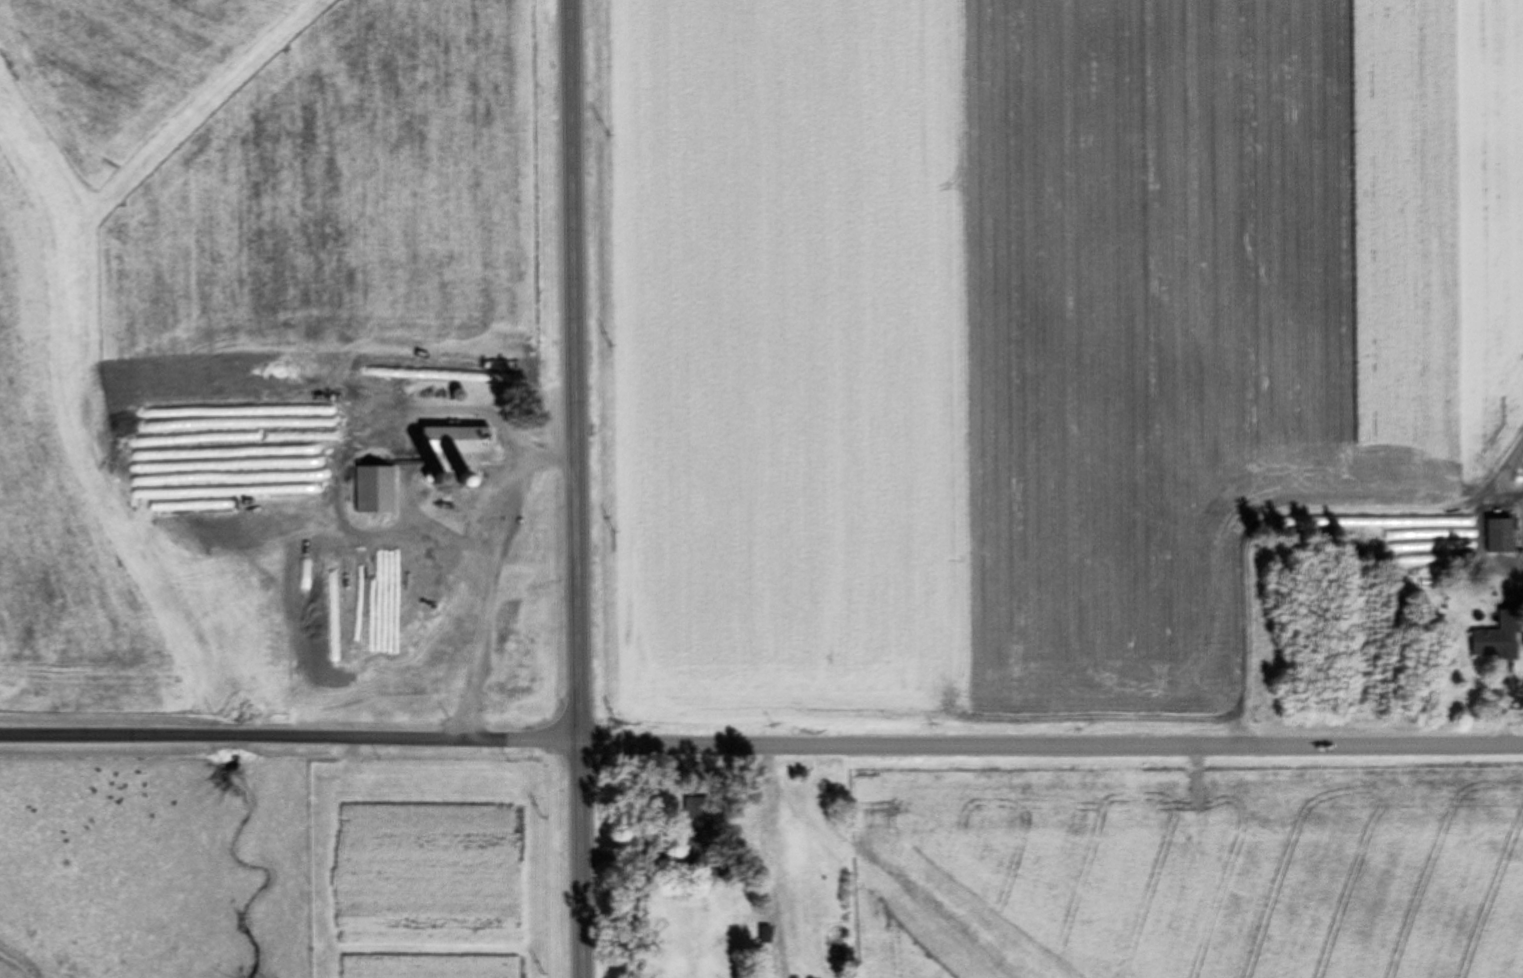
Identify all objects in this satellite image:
building: (454, 454)
building: (316, 462)
road: (577, 488)
building: (375, 489)
building: (1500, 535)
building: (1494, 642)
building: (531, 677)
road: (1509, 707)
road: (290, 742)
road: (1052, 746)
building: (697, 822)

